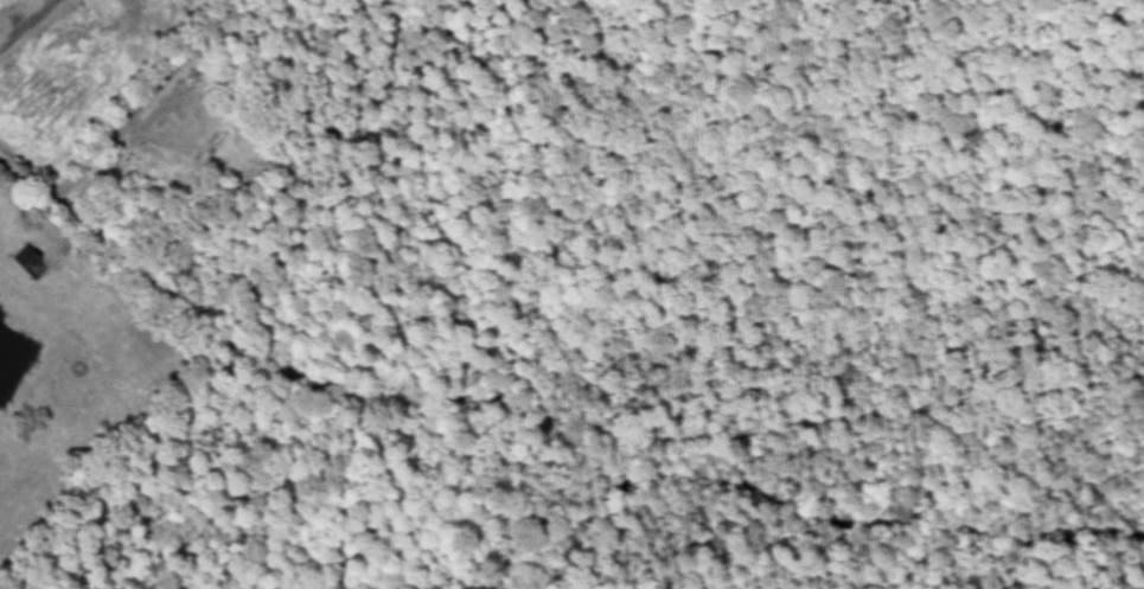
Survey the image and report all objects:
building: (5, 4)
road: (141, 101)
road: (27, 183)
road: (369, 398)
road: (851, 420)

